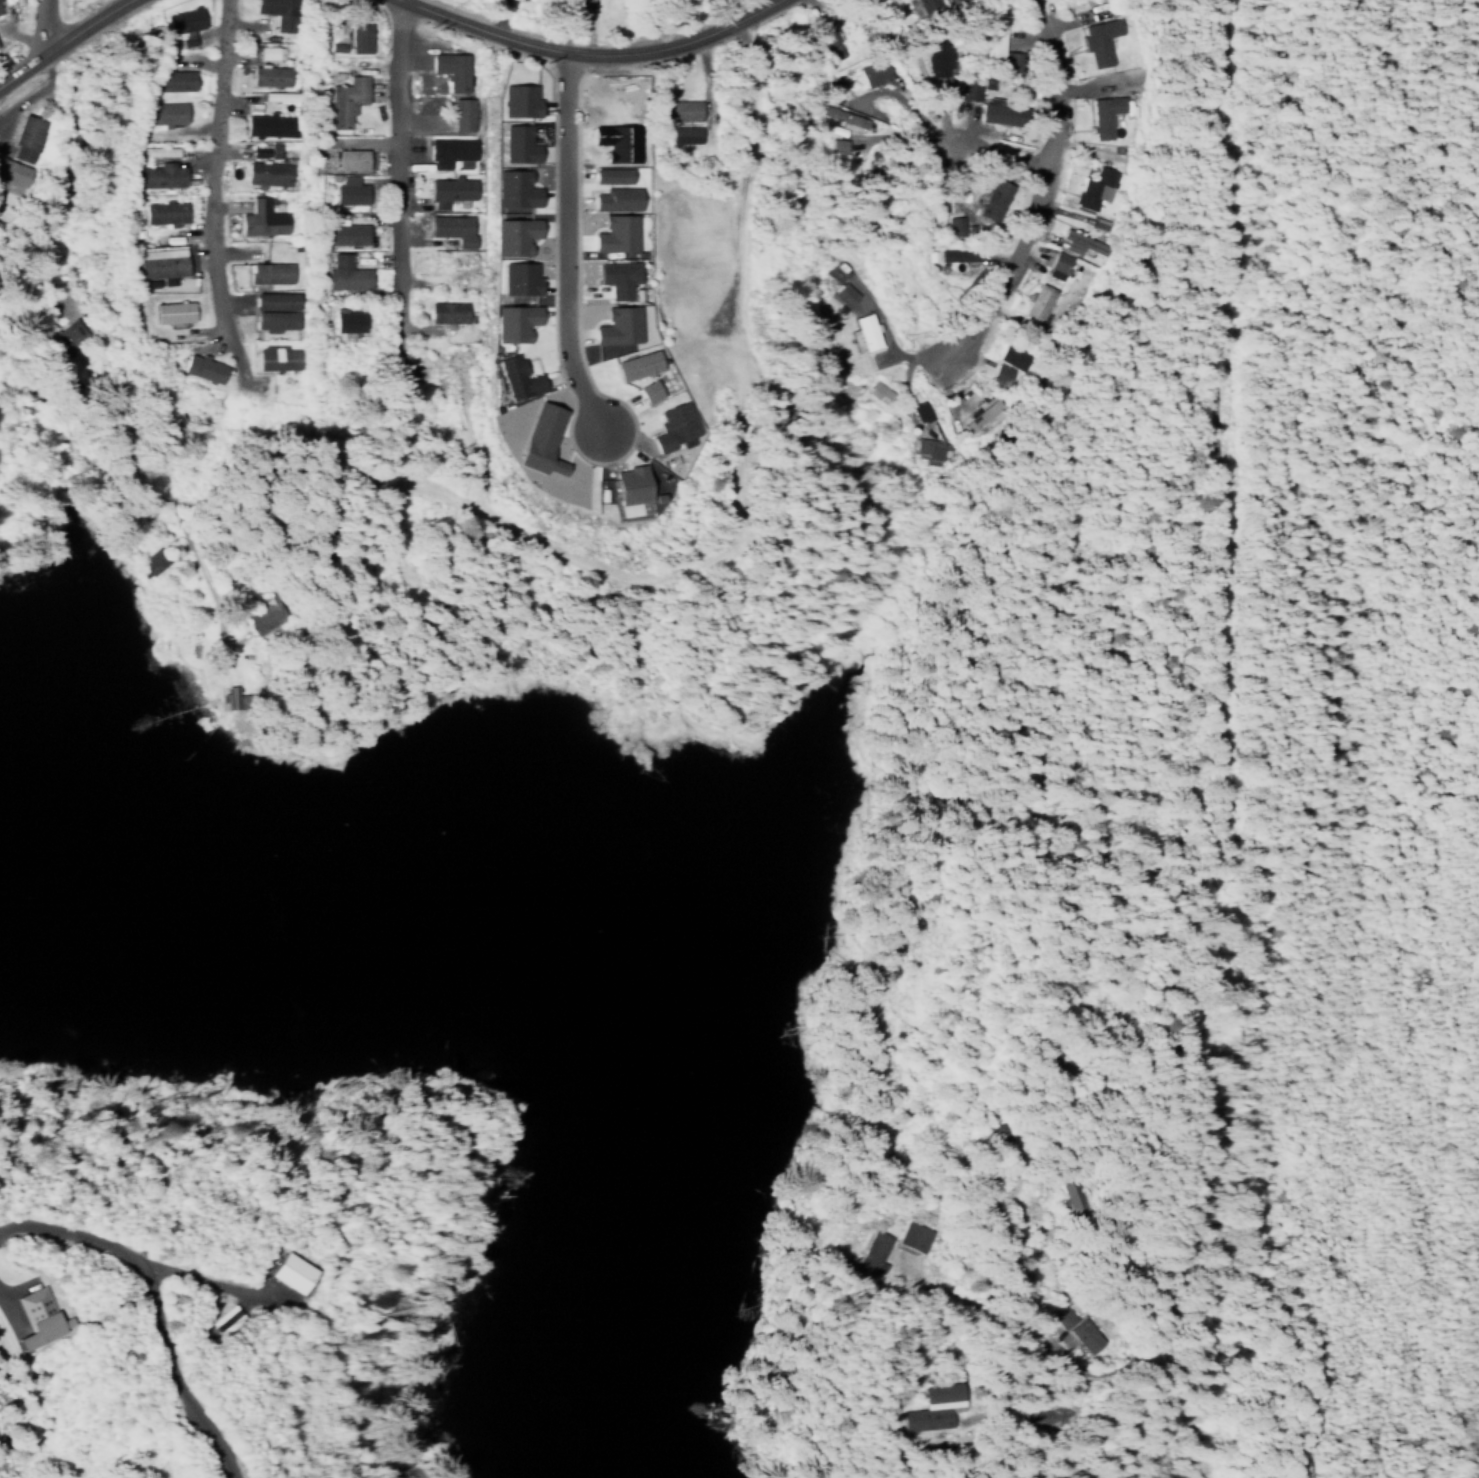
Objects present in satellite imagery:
building: (0, 7)
building: (281, 12)
building: (184, 17)
road: (47, 23)
building: (359, 33)
road: (60, 40)
building: (989, 40)
building: (1095, 40)
building: (823, 43)
road: (593, 50)
building: (268, 52)
building: (932, 55)
building: (452, 66)
building: (269, 71)
building: (872, 72)
building: (173, 75)
building: (964, 87)
building: (269, 96)
building: (346, 96)
building: (514, 100)
building: (680, 106)
building: (163, 109)
building: (464, 110)
building: (988, 111)
building: (1099, 114)
building: (842, 118)
building: (269, 120)
building: (28, 133)
building: (680, 134)
building: (514, 144)
building: (835, 145)
building: (450, 146)
building: (159, 147)
building: (271, 149)
building: (352, 155)
road: (999, 156)
road: (389, 167)
building: (267, 168)
building: (13, 171)
building: (160, 172)
building: (605, 175)
road: (204, 183)
building: (451, 186)
building: (350, 187)
building: (509, 188)
building: (1092, 188)
road: (1039, 192)
building: (613, 199)
building: (988, 202)
building: (166, 208)
building: (260, 214)
building: (454, 224)
building: (951, 224)
building: (347, 229)
building: (509, 235)
road: (561, 242)
building: (1073, 242)
building: (948, 256)
building: (163, 259)
building: (1057, 261)
building: (270, 268)
building: (345, 270)
building: (514, 277)
building: (612, 277)
building: (842, 293)
building: (271, 300)
building: (1037, 303)
building: (449, 308)
building: (174, 309)
building: (276, 316)
building: (348, 316)
building: (510, 322)
building: (71, 332)
building: (277, 353)
building: (1005, 354)
building: (204, 364)
building: (632, 365)
building: (519, 373)
building: (646, 392)
road: (0, 404)
building: (975, 419)
building: (676, 422)
building: (537, 439)
building: (930, 449)
building: (626, 485)
building: (153, 562)
road: (1223, 814)
building: (911, 1236)
building: (872, 1251)
building: (279, 1269)
building: (30, 1315)
building: (1079, 1331)
building: (934, 1407)

